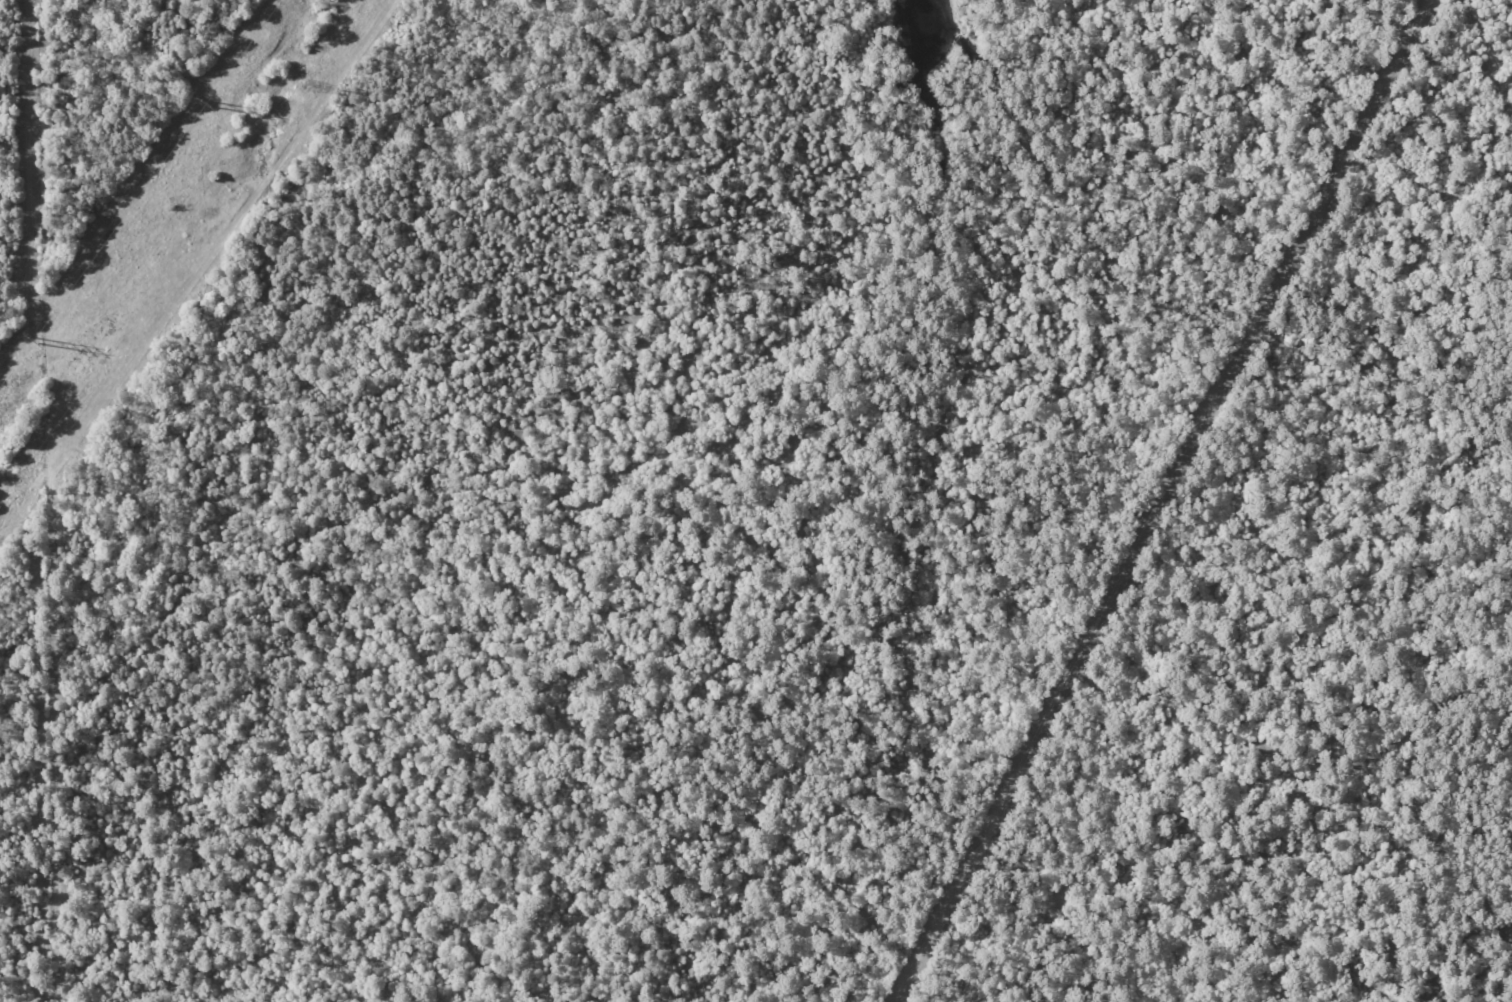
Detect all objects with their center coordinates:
power tower: (310, 87)
power tower: (206, 103)
power tower: (31, 339)

